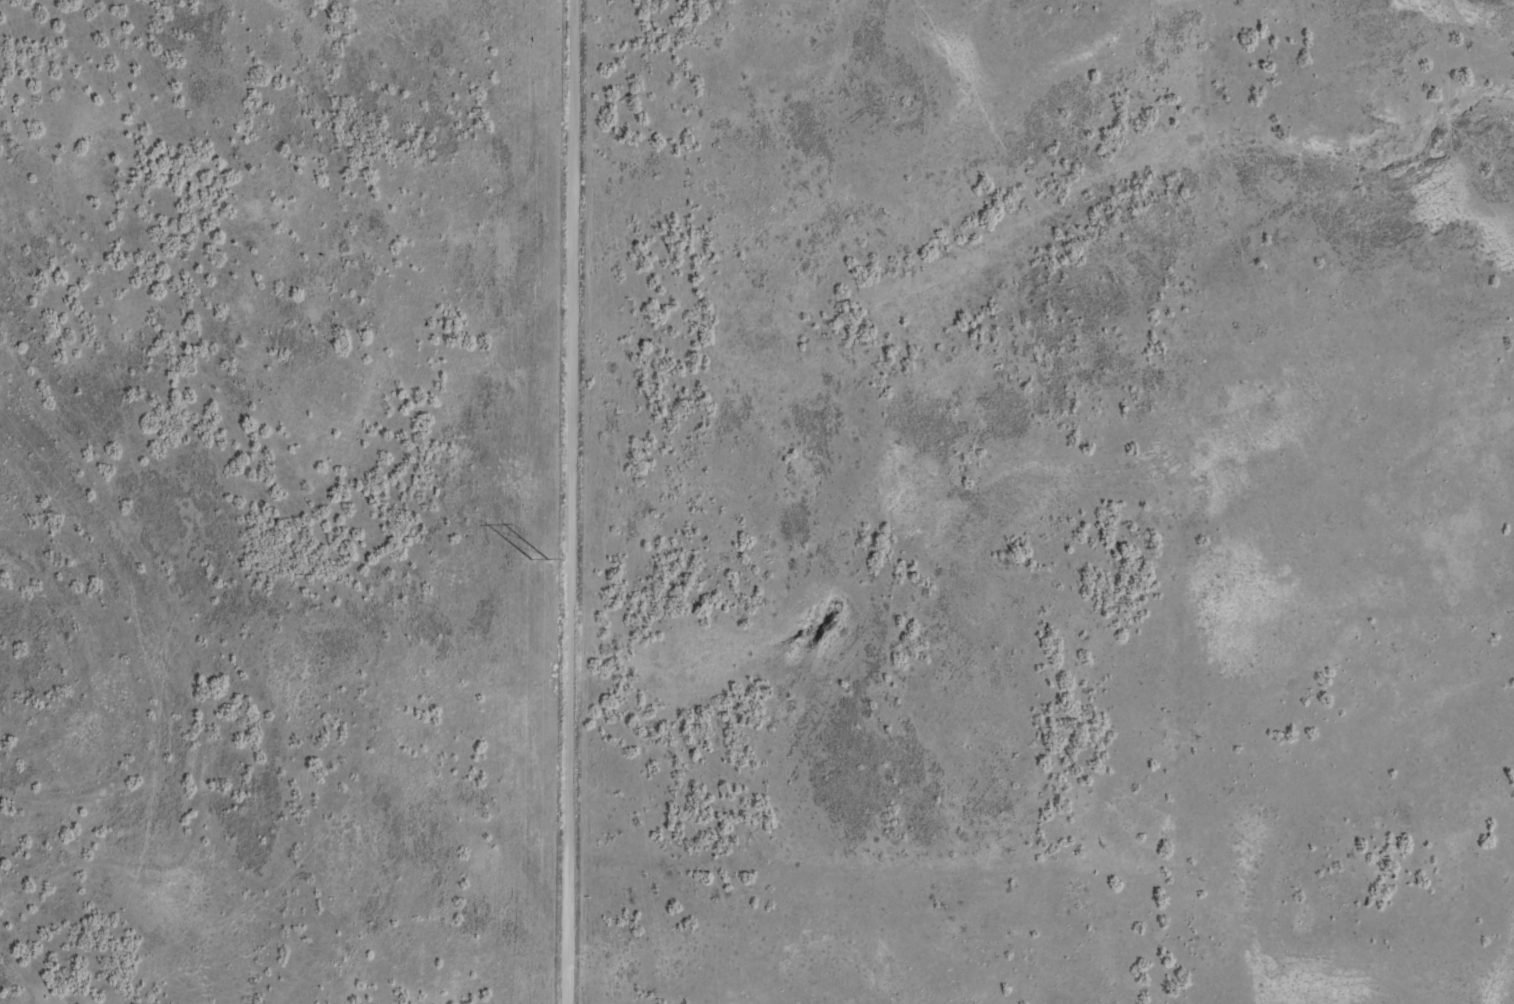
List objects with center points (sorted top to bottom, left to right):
road: (577, 502)
power tower: (539, 569)

